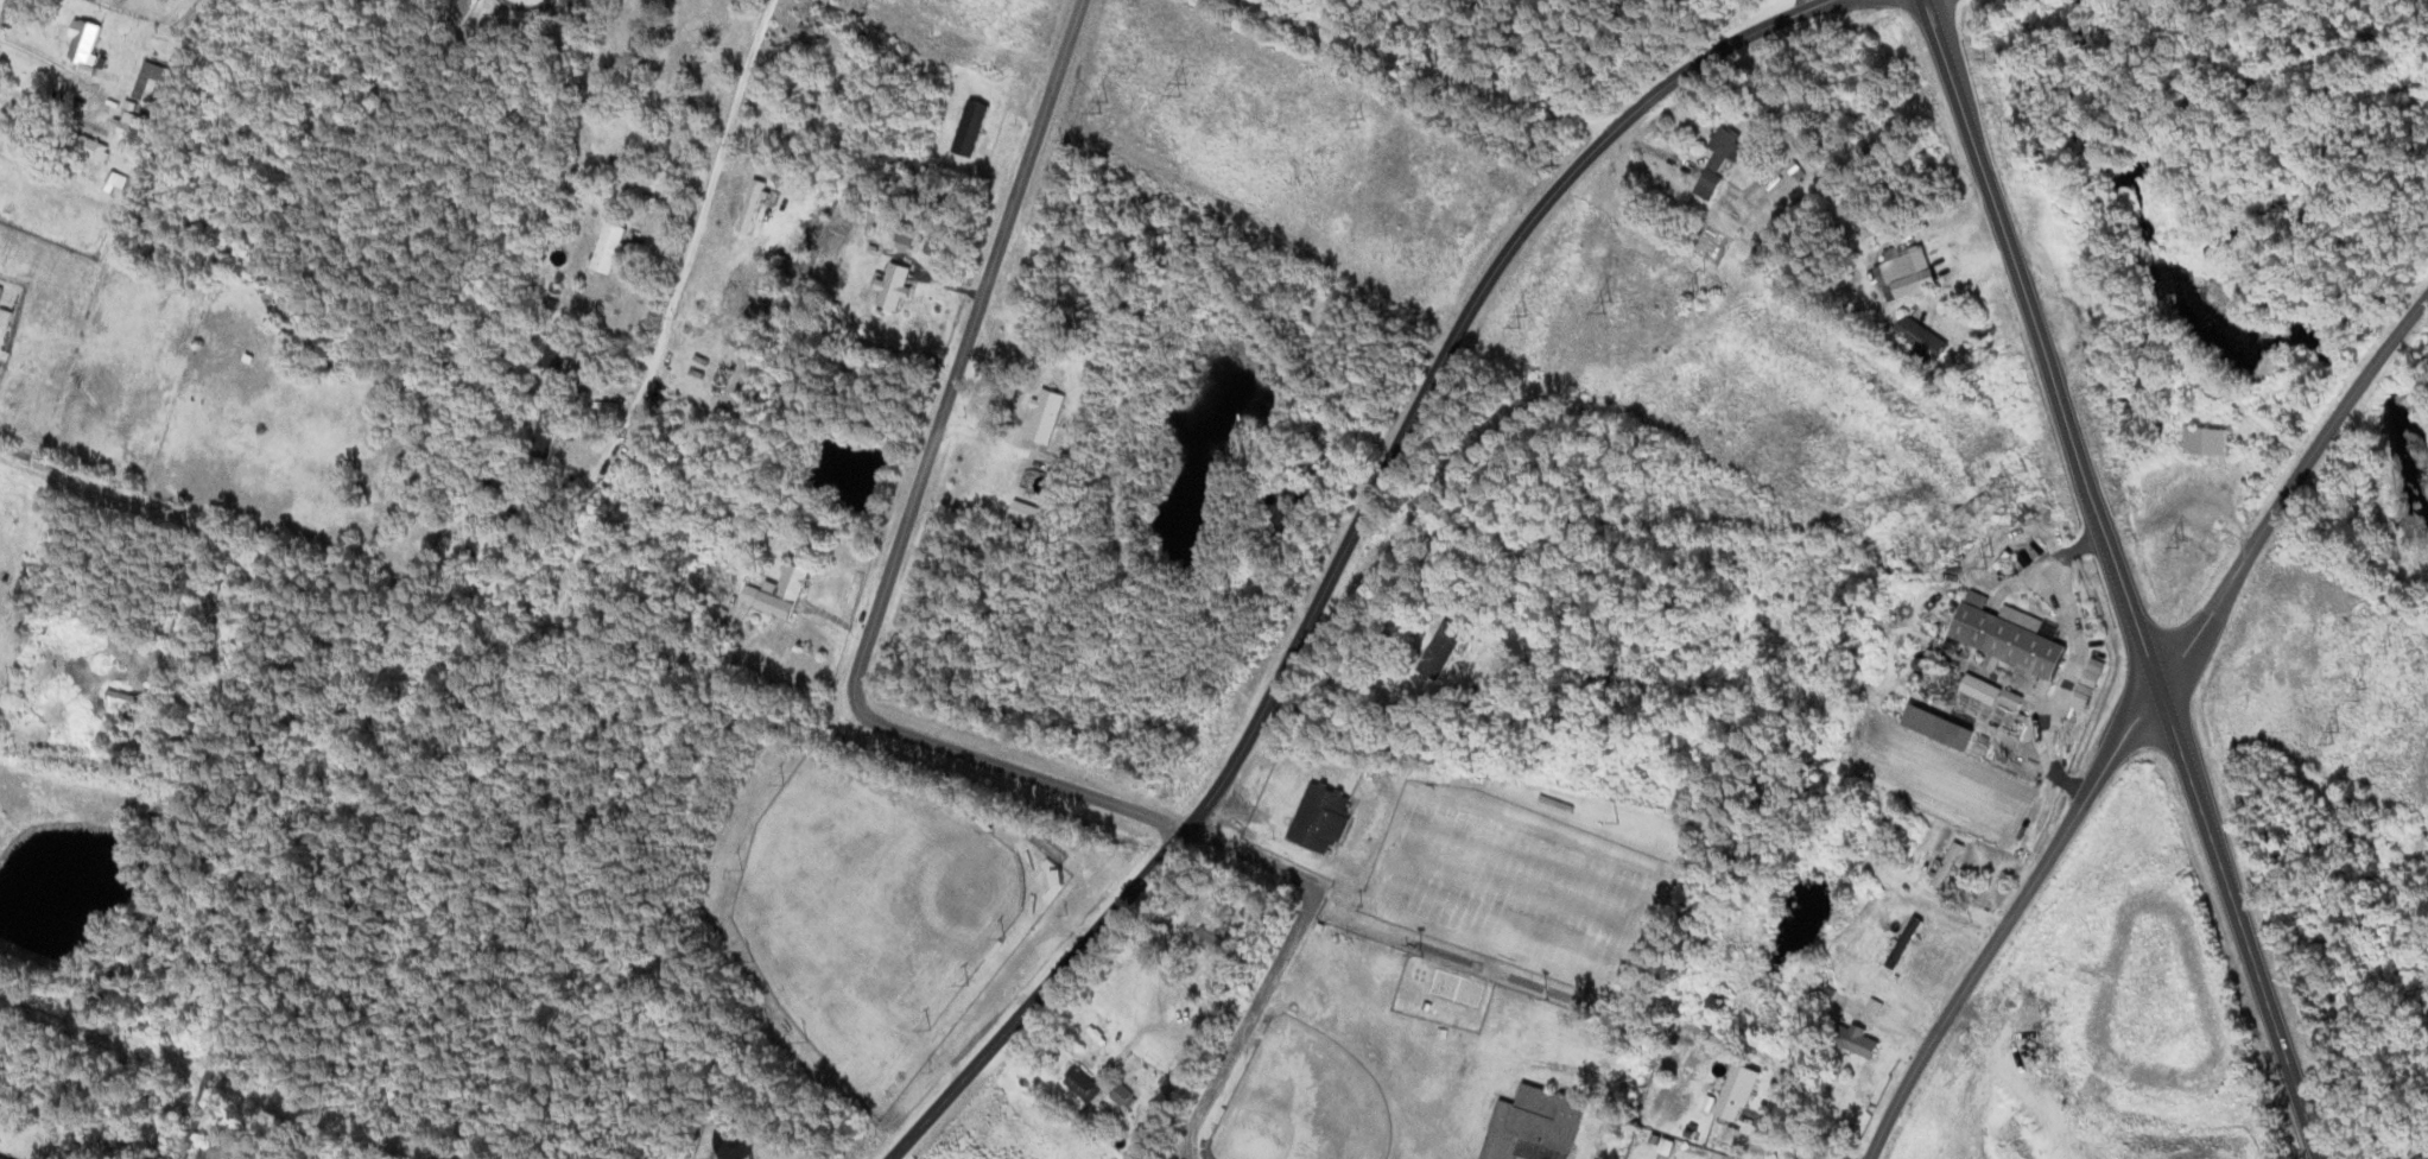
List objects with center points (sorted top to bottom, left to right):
road: (1299, 9)
road: (1320, 9)
building: (809, 38)
building: (88, 40)
road: (1467, 72)
building: (152, 81)
power tower: (1187, 89)
power tower: (1104, 106)
power tower: (1362, 122)
building: (785, 125)
building: (976, 127)
building: (134, 129)
building: (97, 147)
building: (1724, 158)
building: (757, 201)
building: (614, 248)
building: (1912, 268)
building: (899, 285)
building: (1, 292)
power tower: (1695, 296)
power tower: (1610, 305)
power tower: (1523, 321)
building: (1925, 336)
road: (2047, 341)
building: (559, 355)
building: (1050, 414)
building: (550, 436)
building: (2214, 442)
power tower: (2022, 518)
road: (907, 520)
building: (477, 536)
road: (1348, 544)
power tower: (2187, 545)
power tower: (1997, 560)
building: (784, 593)
building: (26, 631)
building: (2015, 640)
power tower: (2388, 647)
building: (1445, 650)
building: (2092, 684)
power tower: (2366, 695)
building: (2016, 698)
road: (2135, 721)
building: (1944, 727)
power tower: (2338, 737)
building: (1326, 819)
building: (1906, 819)
building: (1951, 866)
road: (2242, 920)
building: (1215, 940)
road: (1285, 962)
building: (1832, 995)
building: (1866, 1041)
building: (1085, 1083)
building: (1742, 1092)
building: (1127, 1096)
building: (1538, 1126)
building: (4, 1157)

